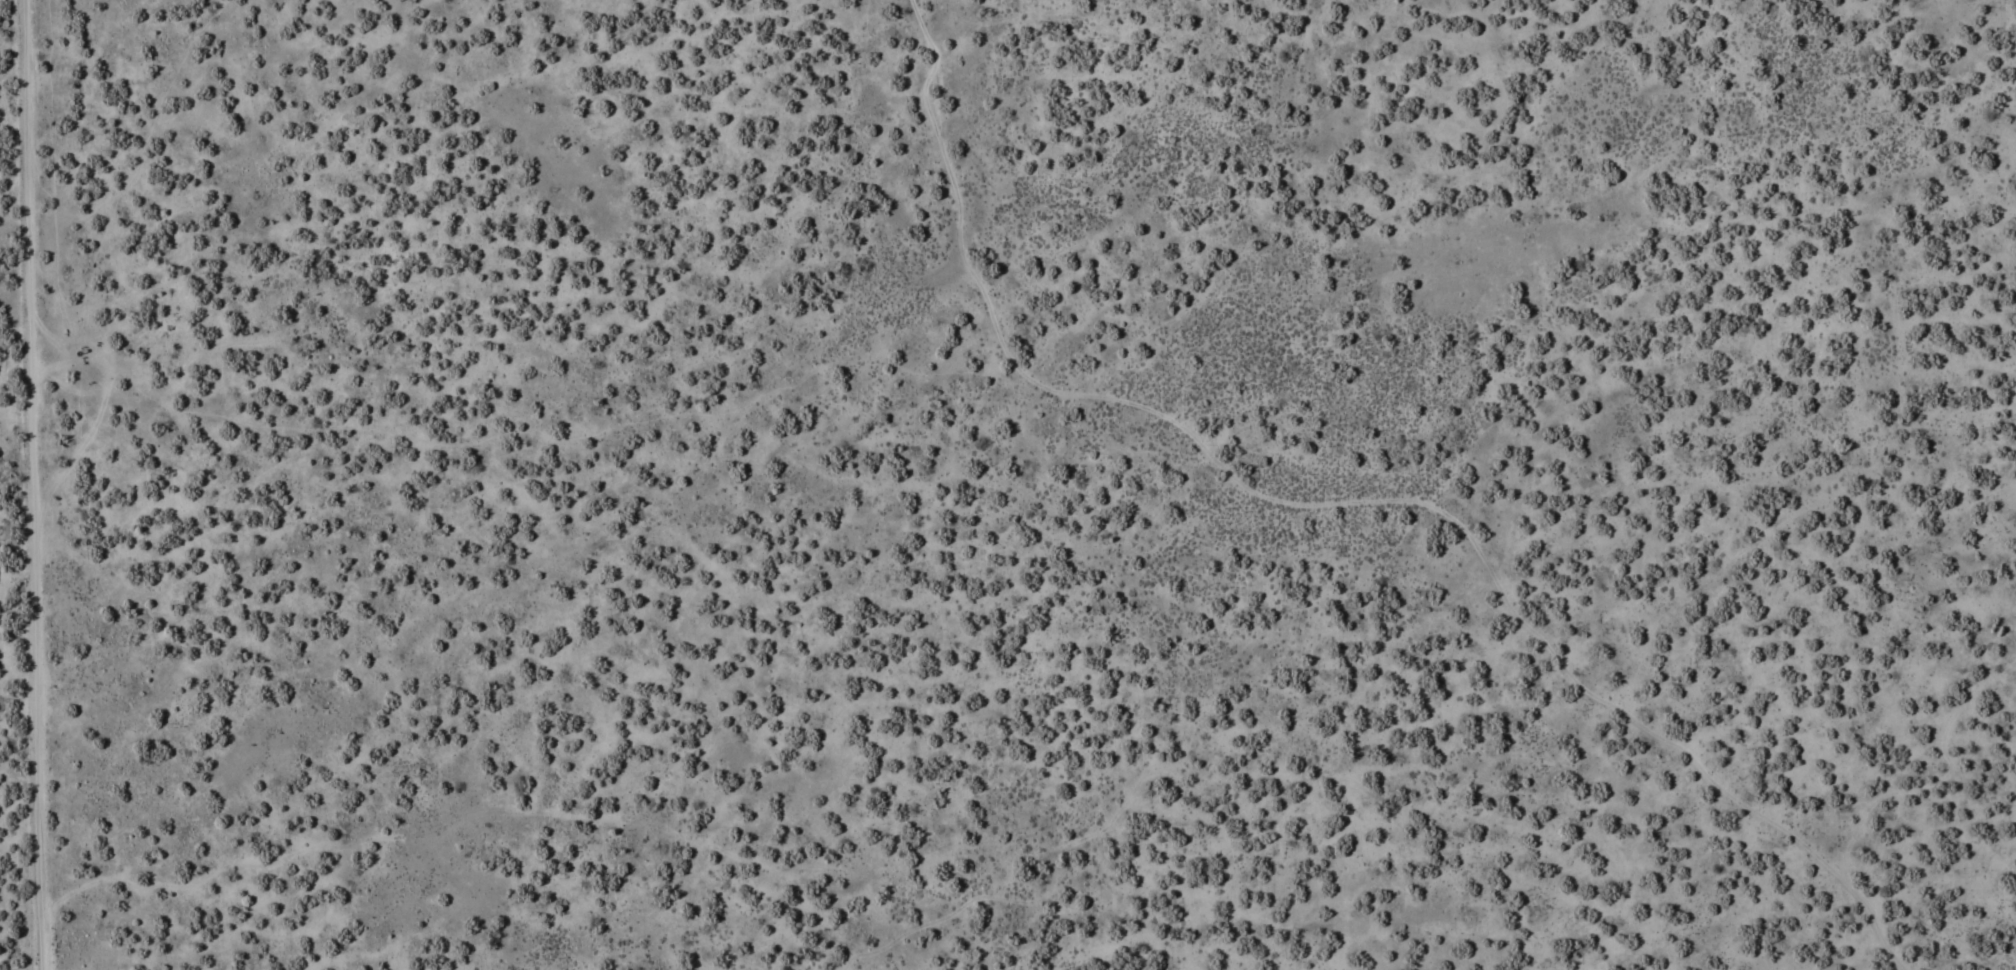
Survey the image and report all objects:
road: (32, 485)
road: (1340, 505)

